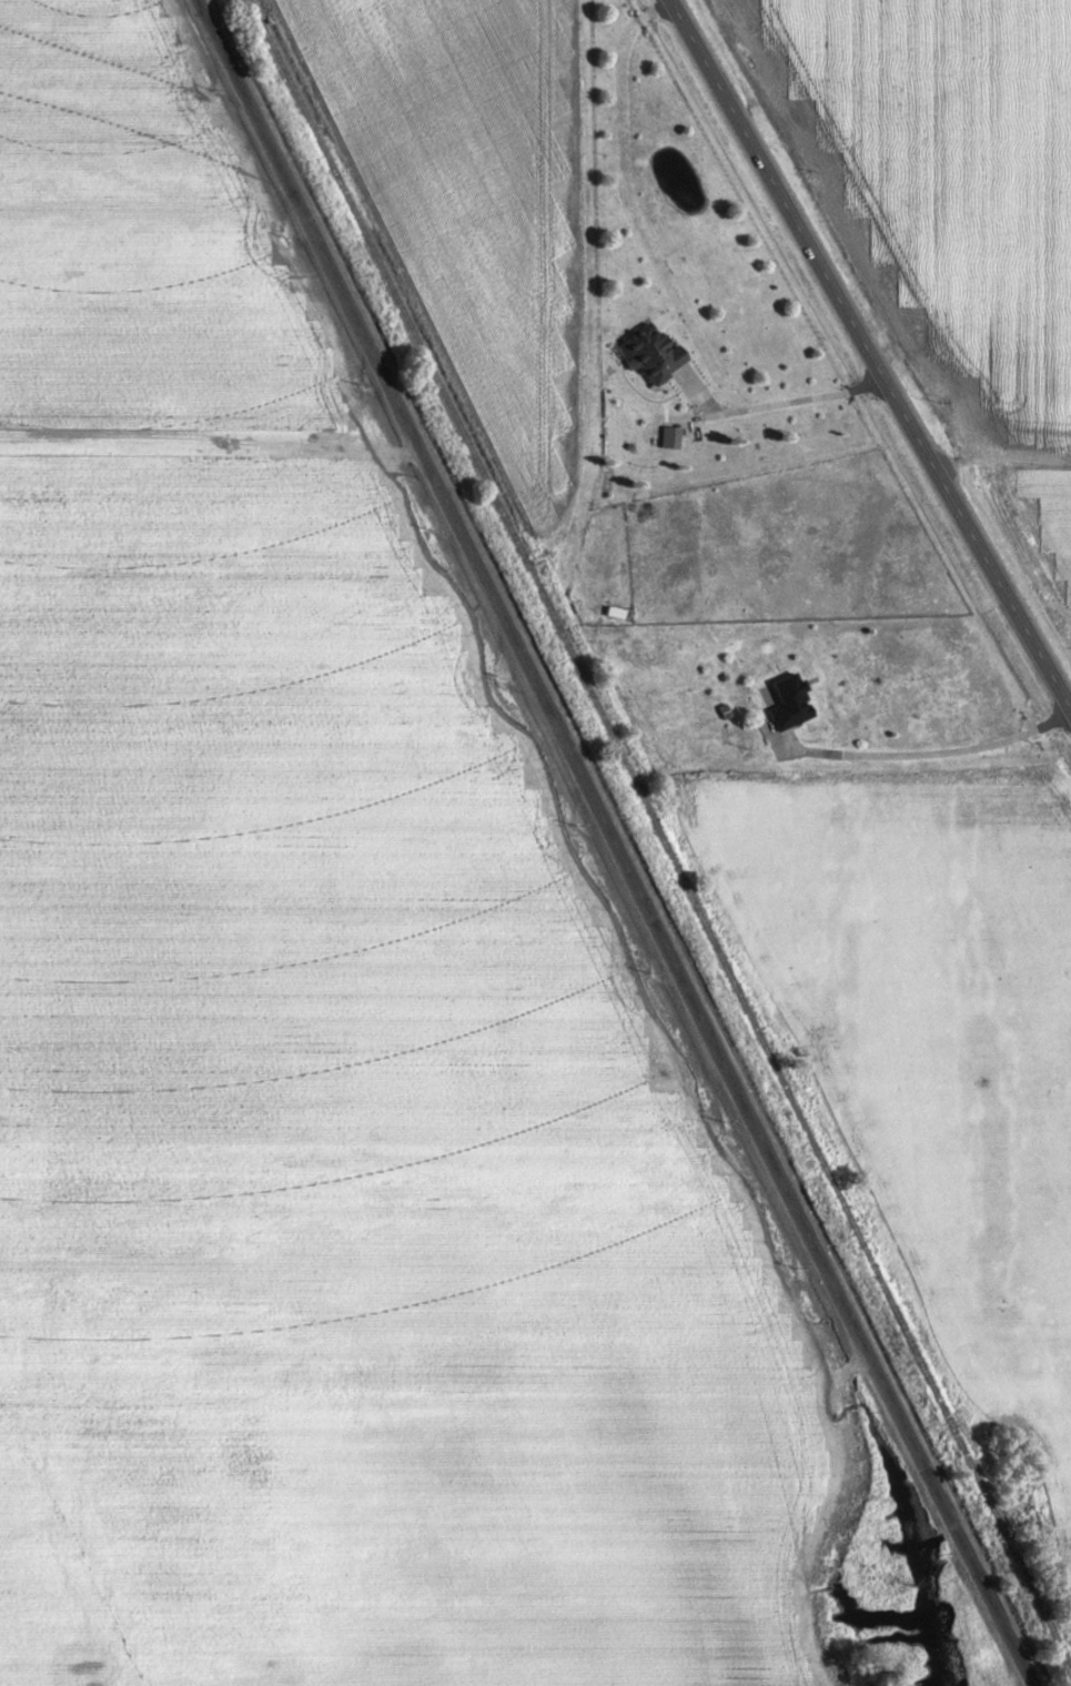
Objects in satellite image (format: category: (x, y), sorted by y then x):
road: (604, 213)
building: (655, 352)
road: (868, 360)
building: (671, 437)
road: (208, 456)
road: (997, 456)
building: (618, 613)
building: (791, 701)
railway: (661, 832)
road: (612, 842)

